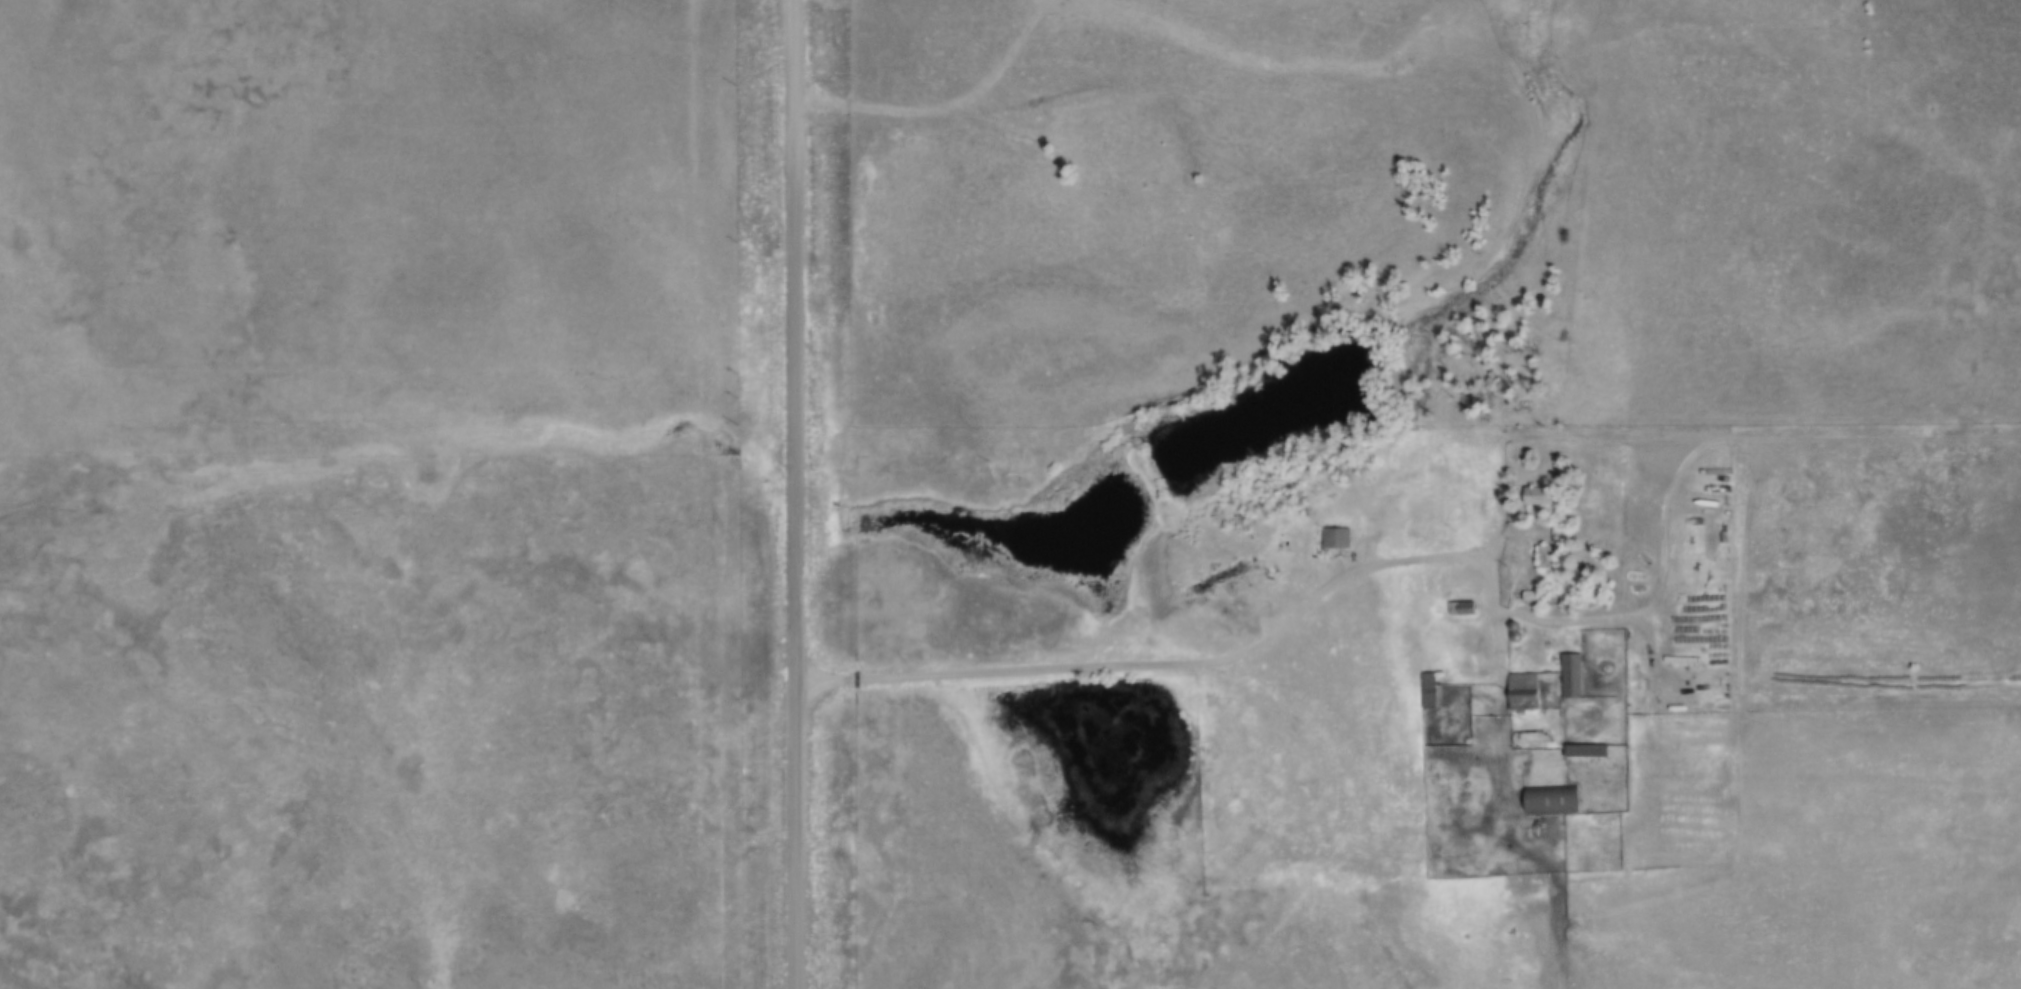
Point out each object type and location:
quarry: (1288, 0)
road: (939, 102)
road: (1766, 442)
road: (795, 494)
building: (1544, 495)
building: (1340, 537)
building: (1550, 557)
building: (1468, 609)
road: (1247, 654)
building: (1575, 676)
building: (1434, 691)
building: (1527, 692)
building: (1591, 751)
road: (1738, 785)

